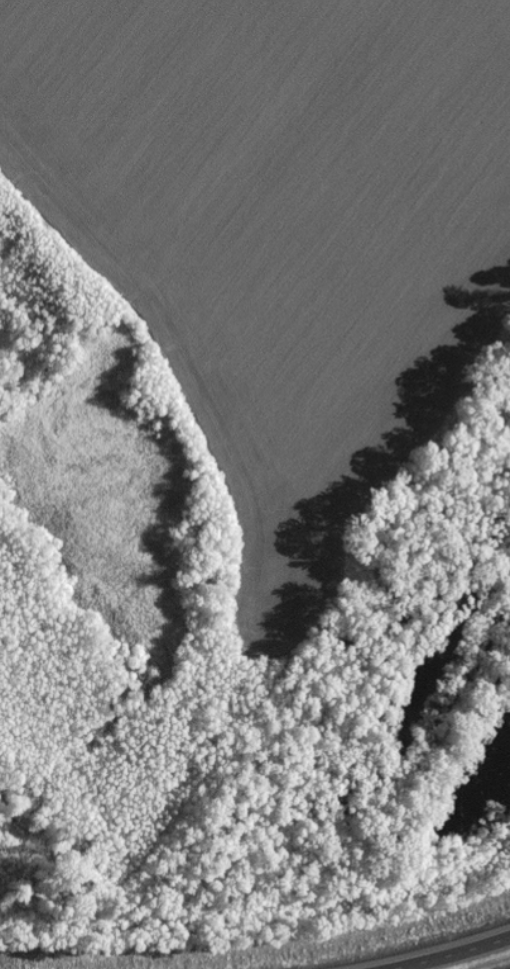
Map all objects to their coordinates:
road: (449, 954)

